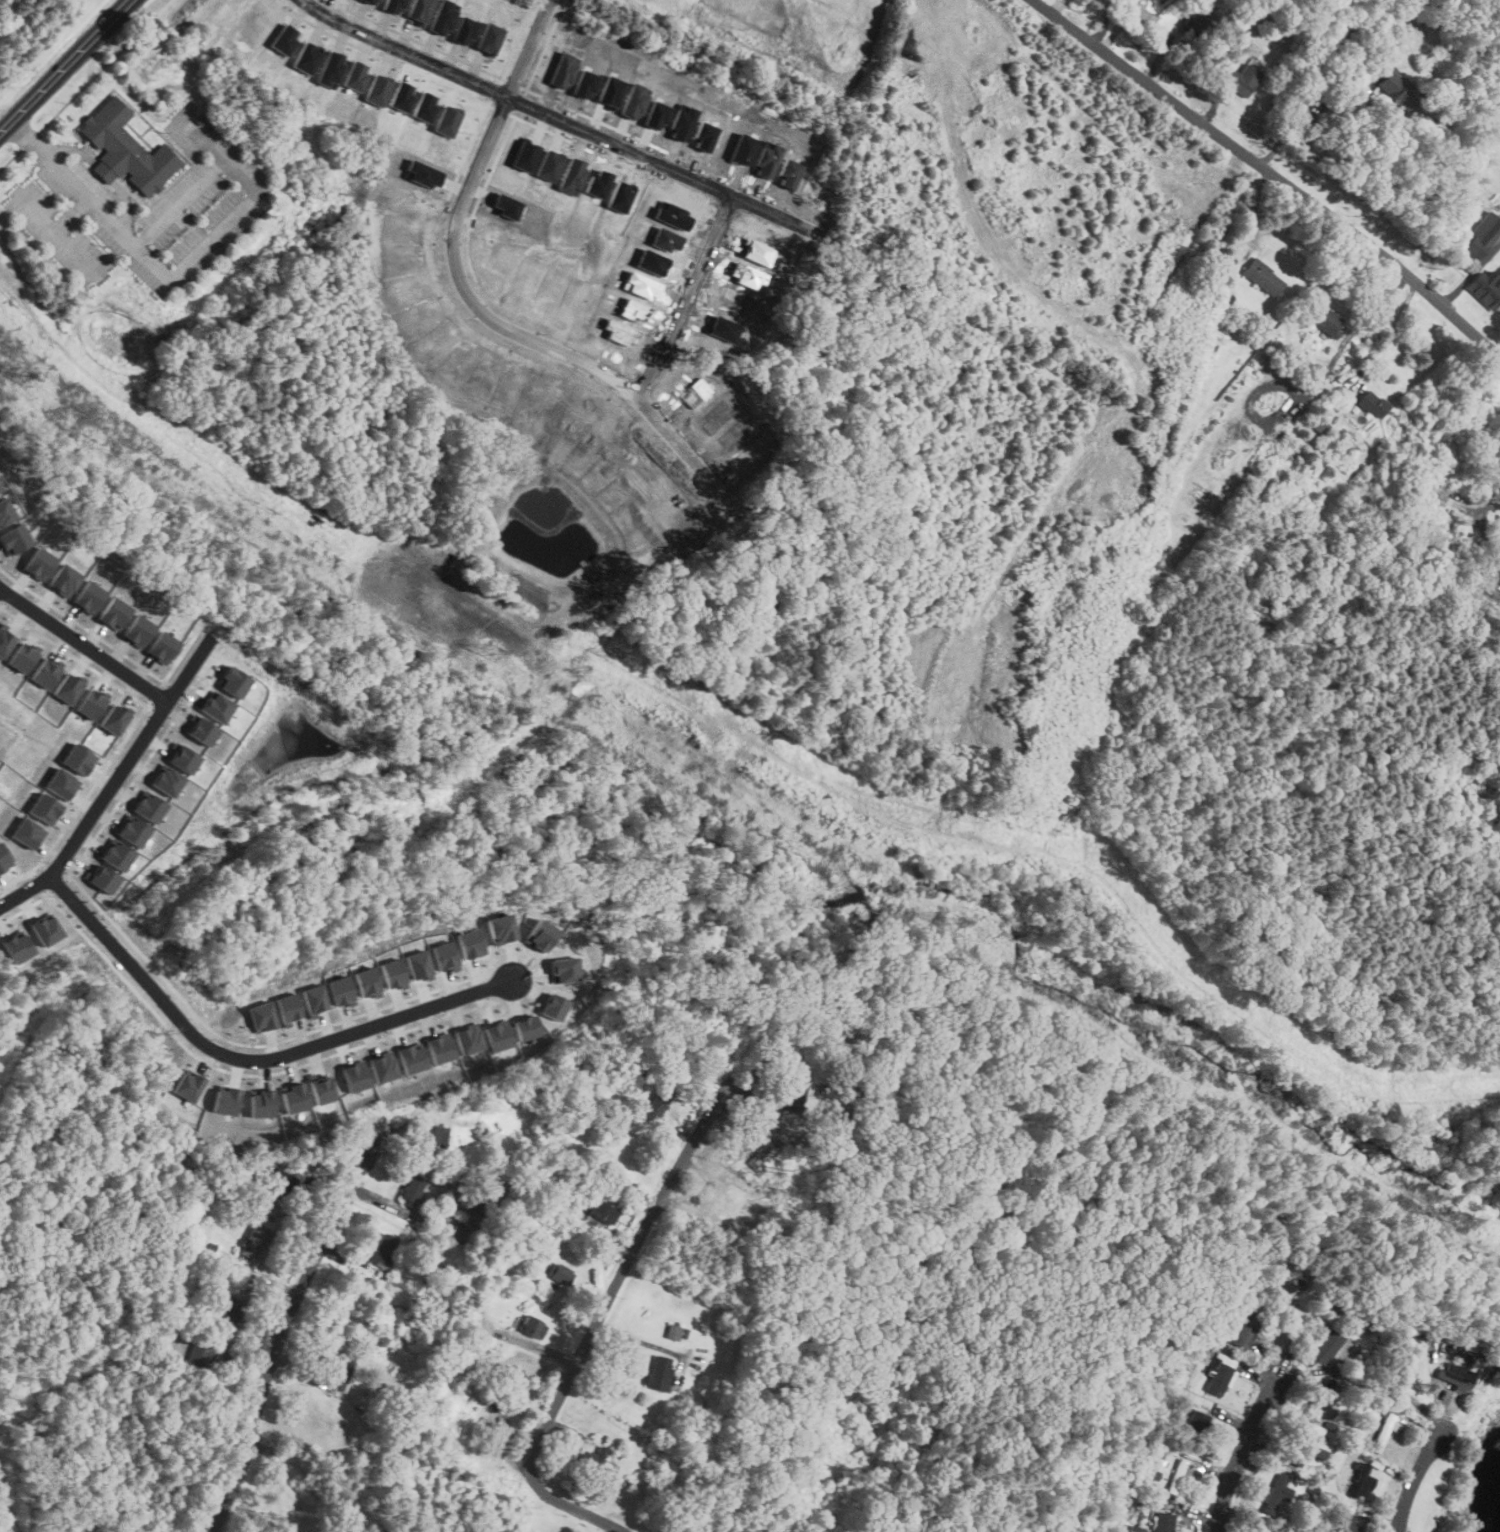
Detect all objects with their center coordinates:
building: (368, 1)
building: (1158, 1)
road: (1126, 2)
building: (394, 5)
building: (421, 11)
building: (444, 17)
road: (1103, 22)
building: (467, 30)
building: (492, 38)
building: (283, 39)
building: (306, 57)
road: (69, 68)
building: (330, 70)
building: (354, 76)
building: (1242, 79)
building: (378, 88)
building: (1394, 92)
building: (401, 96)
building: (424, 106)
road: (1298, 107)
building: (448, 119)
road: (556, 119)
road: (30, 137)
building: (130, 146)
road: (75, 147)
road: (106, 171)
road: (1272, 173)
road: (128, 201)
road: (181, 201)
road: (72, 213)
road: (57, 231)
road: (456, 237)
building: (1483, 239)
road: (193, 264)
building: (1262, 277)
building: (1484, 289)
road: (684, 294)
building: (1324, 320)
road: (1392, 330)
power tower: (18, 373)
building: (1368, 401)
road: (690, 452)
building: (0, 488)
building: (5, 511)
road: (1486, 511)
building: (13, 539)
building: (38, 563)
building: (64, 579)
building: (89, 597)
building: (114, 613)
building: (139, 630)
building: (5, 641)
road: (83, 646)
building: (163, 647)
power tower: (492, 652)
building: (23, 656)
building: (46, 671)
building: (69, 687)
building: (92, 703)
building: (217, 706)
building: (114, 719)
building: (202, 730)
building: (79, 758)
building: (183, 758)
building: (166, 780)
building: (62, 783)
road: (114, 784)
building: (148, 806)
building: (45, 808)
building: (132, 830)
building: (28, 833)
building: (116, 854)
building: (4, 858)
building: (103, 878)
power tower: (949, 921)
building: (501, 928)
building: (45, 930)
building: (540, 935)
building: (470, 942)
building: (16, 946)
building: (444, 956)
building: (417, 963)
building: (392, 973)
building: (367, 982)
building: (340, 990)
building: (313, 999)
building: (556, 1007)
building: (287, 1008)
building: (527, 1026)
building: (499, 1034)
building: (470, 1039)
building: (441, 1048)
building: (412, 1058)
road: (250, 1059)
building: (385, 1067)
building: (356, 1077)
building: (188, 1086)
building: (322, 1089)
building: (794, 1091)
building: (294, 1096)
building: (226, 1101)
building: (262, 1102)
building: (658, 1104)
building: (434, 1138)
building: (760, 1157)
building: (632, 1169)
building: (281, 1183)
building: (411, 1189)
building: (481, 1206)
building: (602, 1210)
power tower: (1461, 1219)
building: (253, 1241)
building: (383, 1250)
building: (559, 1273)
road: (272, 1280)
building: (1287, 1287)
building: (227, 1310)
road: (597, 1321)
building: (531, 1326)
building: (1246, 1329)
building: (673, 1331)
road: (278, 1338)
road: (637, 1340)
building: (1325, 1346)
building: (200, 1355)
building: (342, 1371)
building: (659, 1372)
building: (1220, 1373)
building: (1456, 1376)
building: (510, 1377)
building: (1323, 1397)
building: (1196, 1423)
building: (1385, 1429)
building: (1299, 1445)
building: (1319, 1452)
road: (1239, 1454)
building: (599, 1461)
building: (1361, 1479)
road: (1413, 1480)
building: (1274, 1492)
building: (1163, 1521)
building: (1347, 1523)
building: (1135, 1528)

